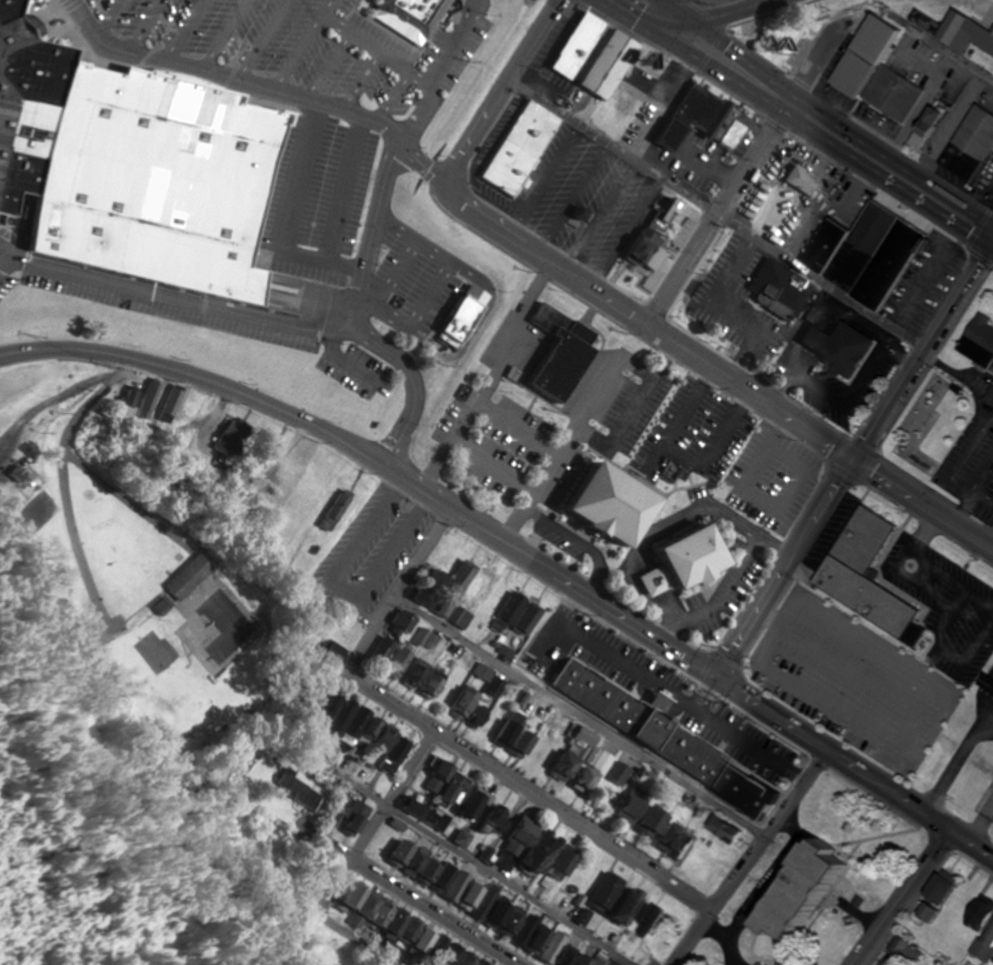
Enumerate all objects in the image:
road: (81, 3)
road: (622, 8)
road: (674, 10)
building: (412, 16)
traffic signals: (636, 17)
road: (114, 18)
road: (704, 19)
traffic signals: (690, 21)
road: (147, 25)
road: (189, 31)
building: (963, 34)
road: (227, 36)
road: (267, 41)
road: (381, 44)
road: (306, 45)
building: (860, 55)
building: (562, 61)
road: (336, 64)
building: (600, 64)
road: (750, 66)
road: (437, 71)
road: (719, 71)
road: (366, 78)
road: (263, 87)
road: (502, 87)
road: (395, 92)
building: (892, 95)
building: (29, 103)
building: (661, 135)
building: (723, 135)
building: (969, 143)
railway: (145, 144)
building: (517, 146)
road: (740, 172)
parking lot: (334, 175)
road: (900, 176)
building: (163, 180)
building: (796, 181)
road: (716, 215)
road: (372, 235)
road: (312, 252)
building: (863, 254)
road: (451, 257)
road: (349, 261)
road: (8, 263)
road: (427, 281)
road: (258, 314)
road: (425, 322)
building: (977, 341)
building: (833, 348)
road: (347, 355)
road: (715, 368)
road: (490, 377)
building: (989, 394)
road: (637, 400)
railway: (492, 409)
road: (515, 428)
road: (568, 432)
road: (853, 460)
traffic signals: (854, 460)
railway: (523, 461)
road: (491, 465)
building: (992, 469)
building: (599, 502)
road: (517, 550)
building: (675, 558)
building: (862, 572)
building: (464, 581)
road: (395, 591)
building: (393, 663)
traffic signals: (713, 676)
building: (991, 677)
building: (419, 680)
road: (330, 703)
building: (458, 703)
parking lot: (766, 710)
building: (498, 728)
building: (717, 750)
building: (572, 761)
road: (957, 763)
building: (613, 773)
building: (446, 786)
road: (530, 795)
building: (640, 818)
building: (518, 853)
road: (351, 857)
road: (755, 861)
building: (550, 868)
building: (937, 886)
road: (407, 897)
road: (899, 898)
building: (622, 904)
building: (978, 906)
building: (923, 911)
building: (988, 935)
building: (546, 945)
building: (992, 959)

